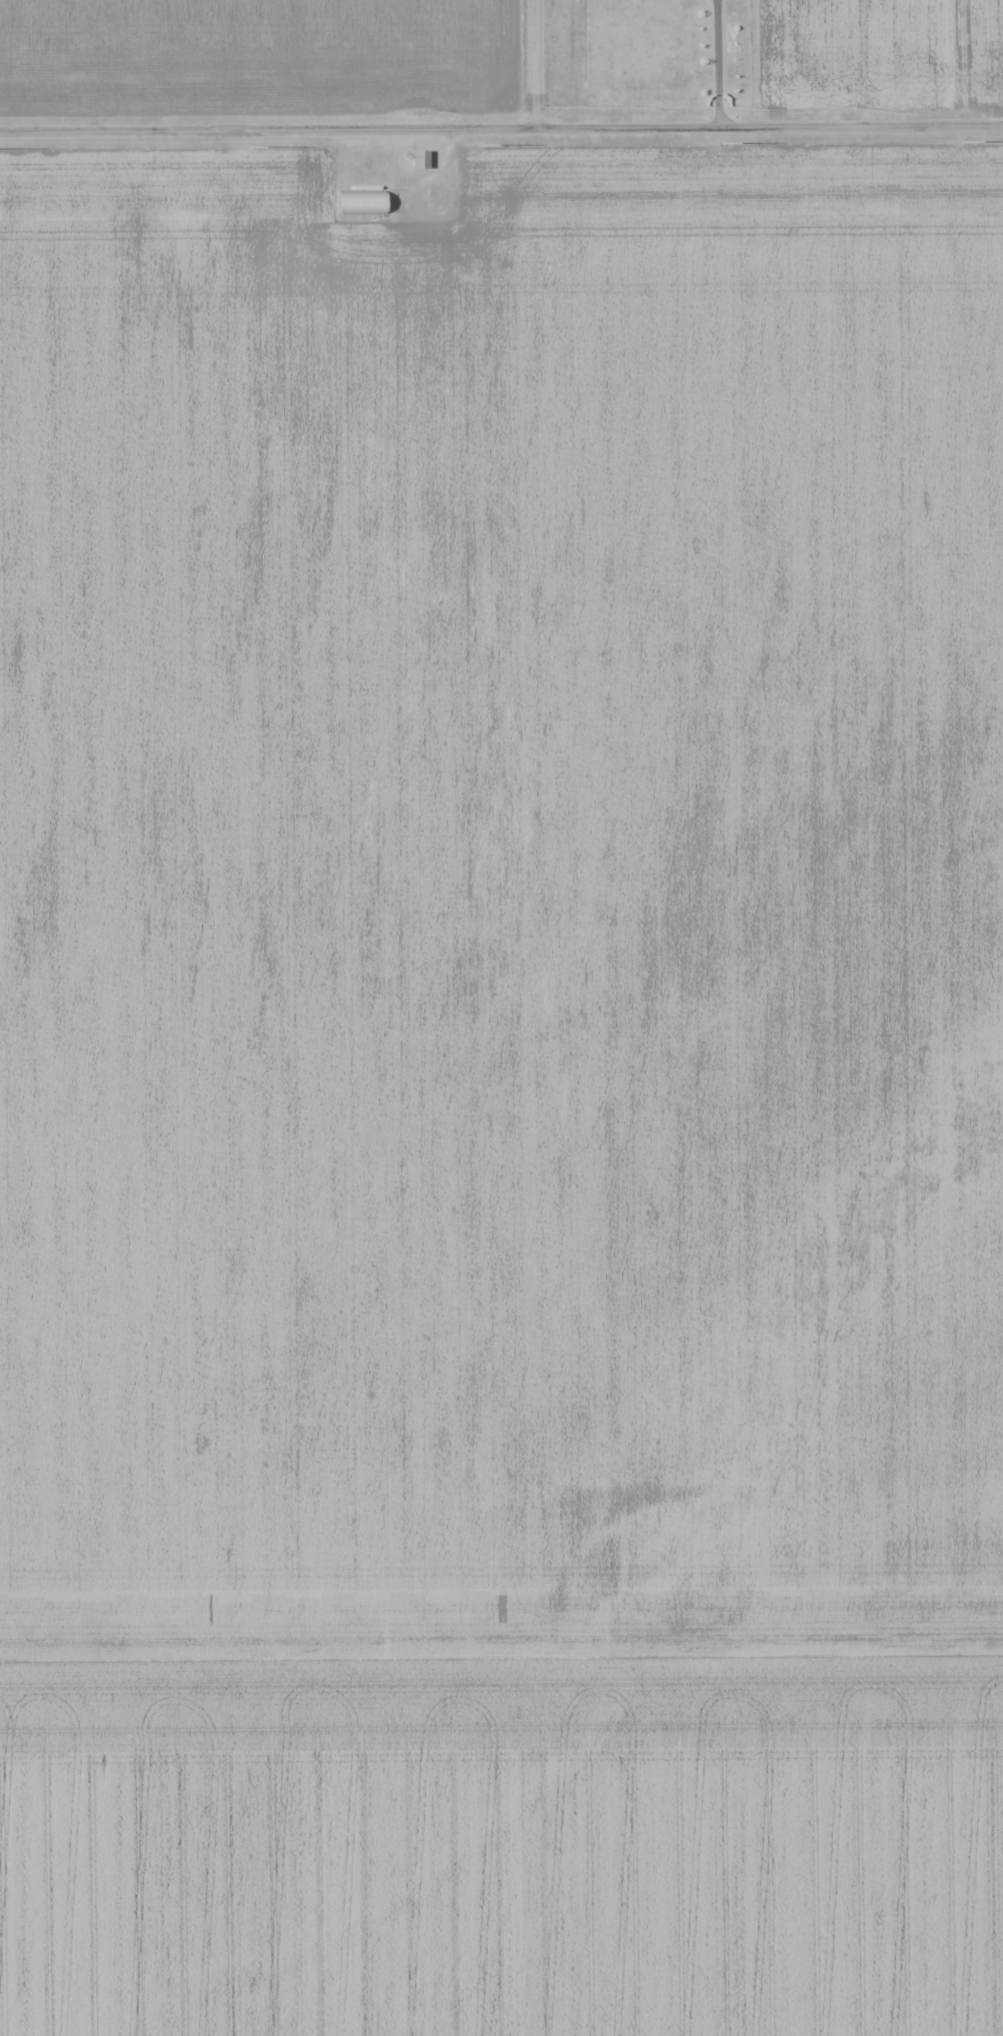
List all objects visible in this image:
road: (717, 63)
road: (501, 128)
power tower: (968, 141)
power tower: (485, 143)
power tower: (725, 143)
power tower: (253, 146)
building: (420, 159)

